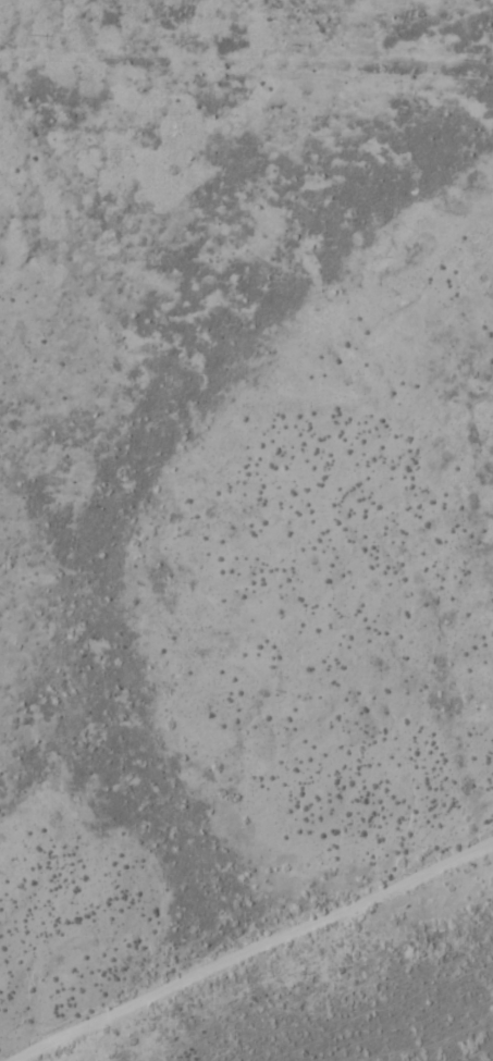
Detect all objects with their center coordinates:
road: (246, 948)

